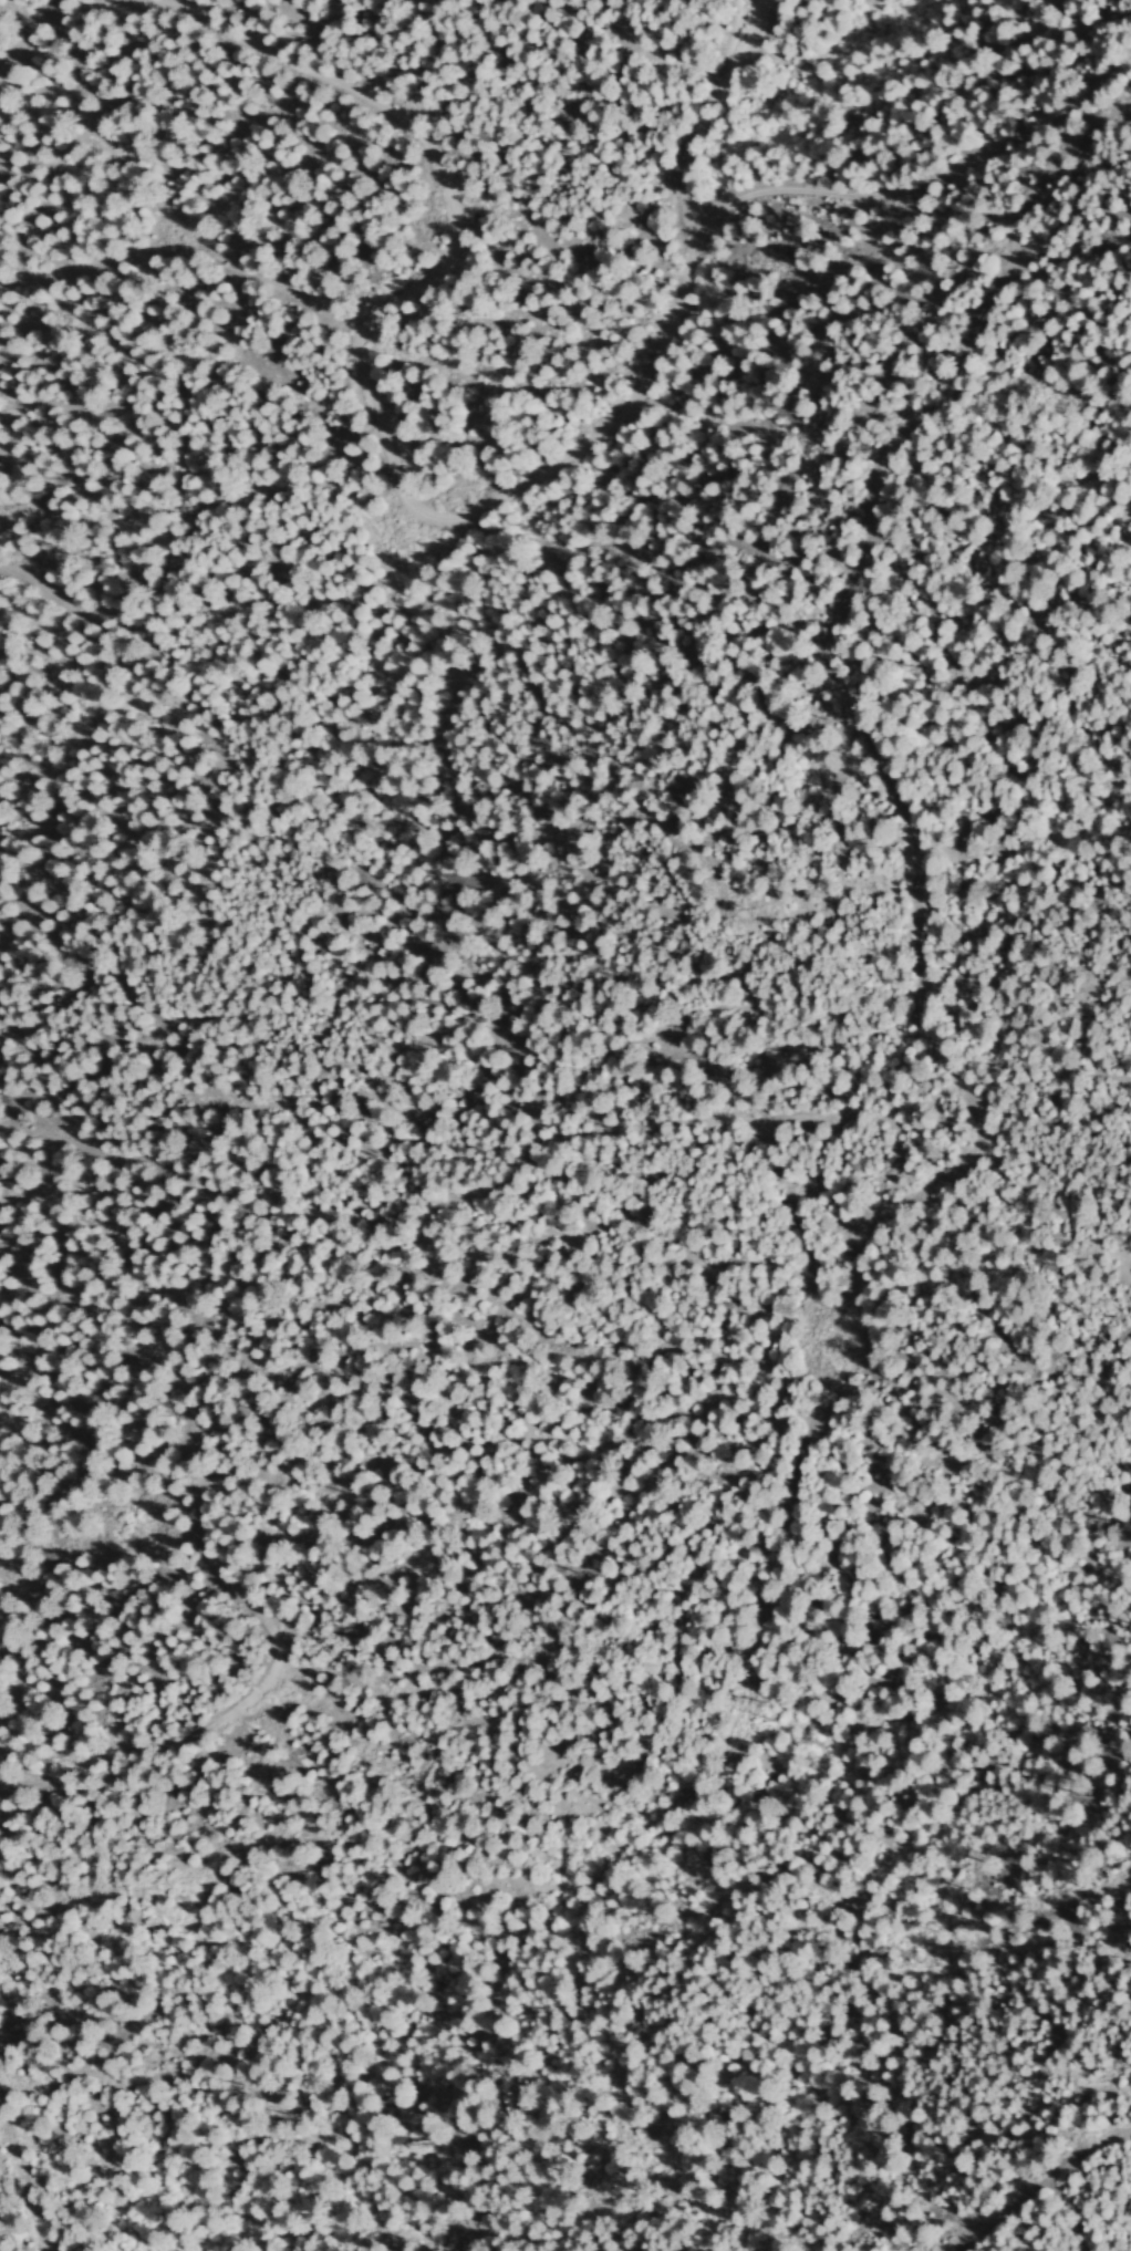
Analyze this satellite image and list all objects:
road: (905, 221)
road: (509, 423)

